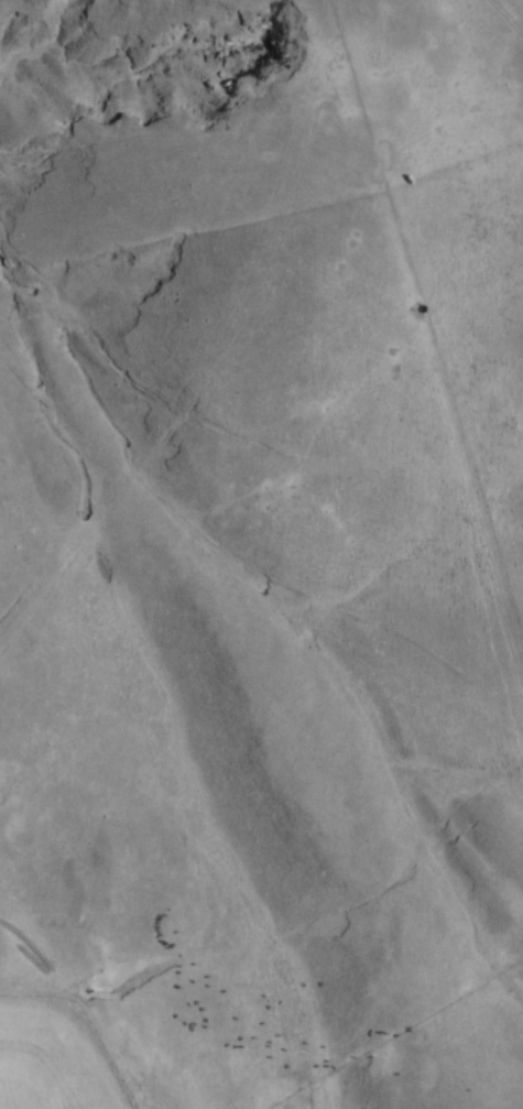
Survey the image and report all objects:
crop: (53, 1058)

